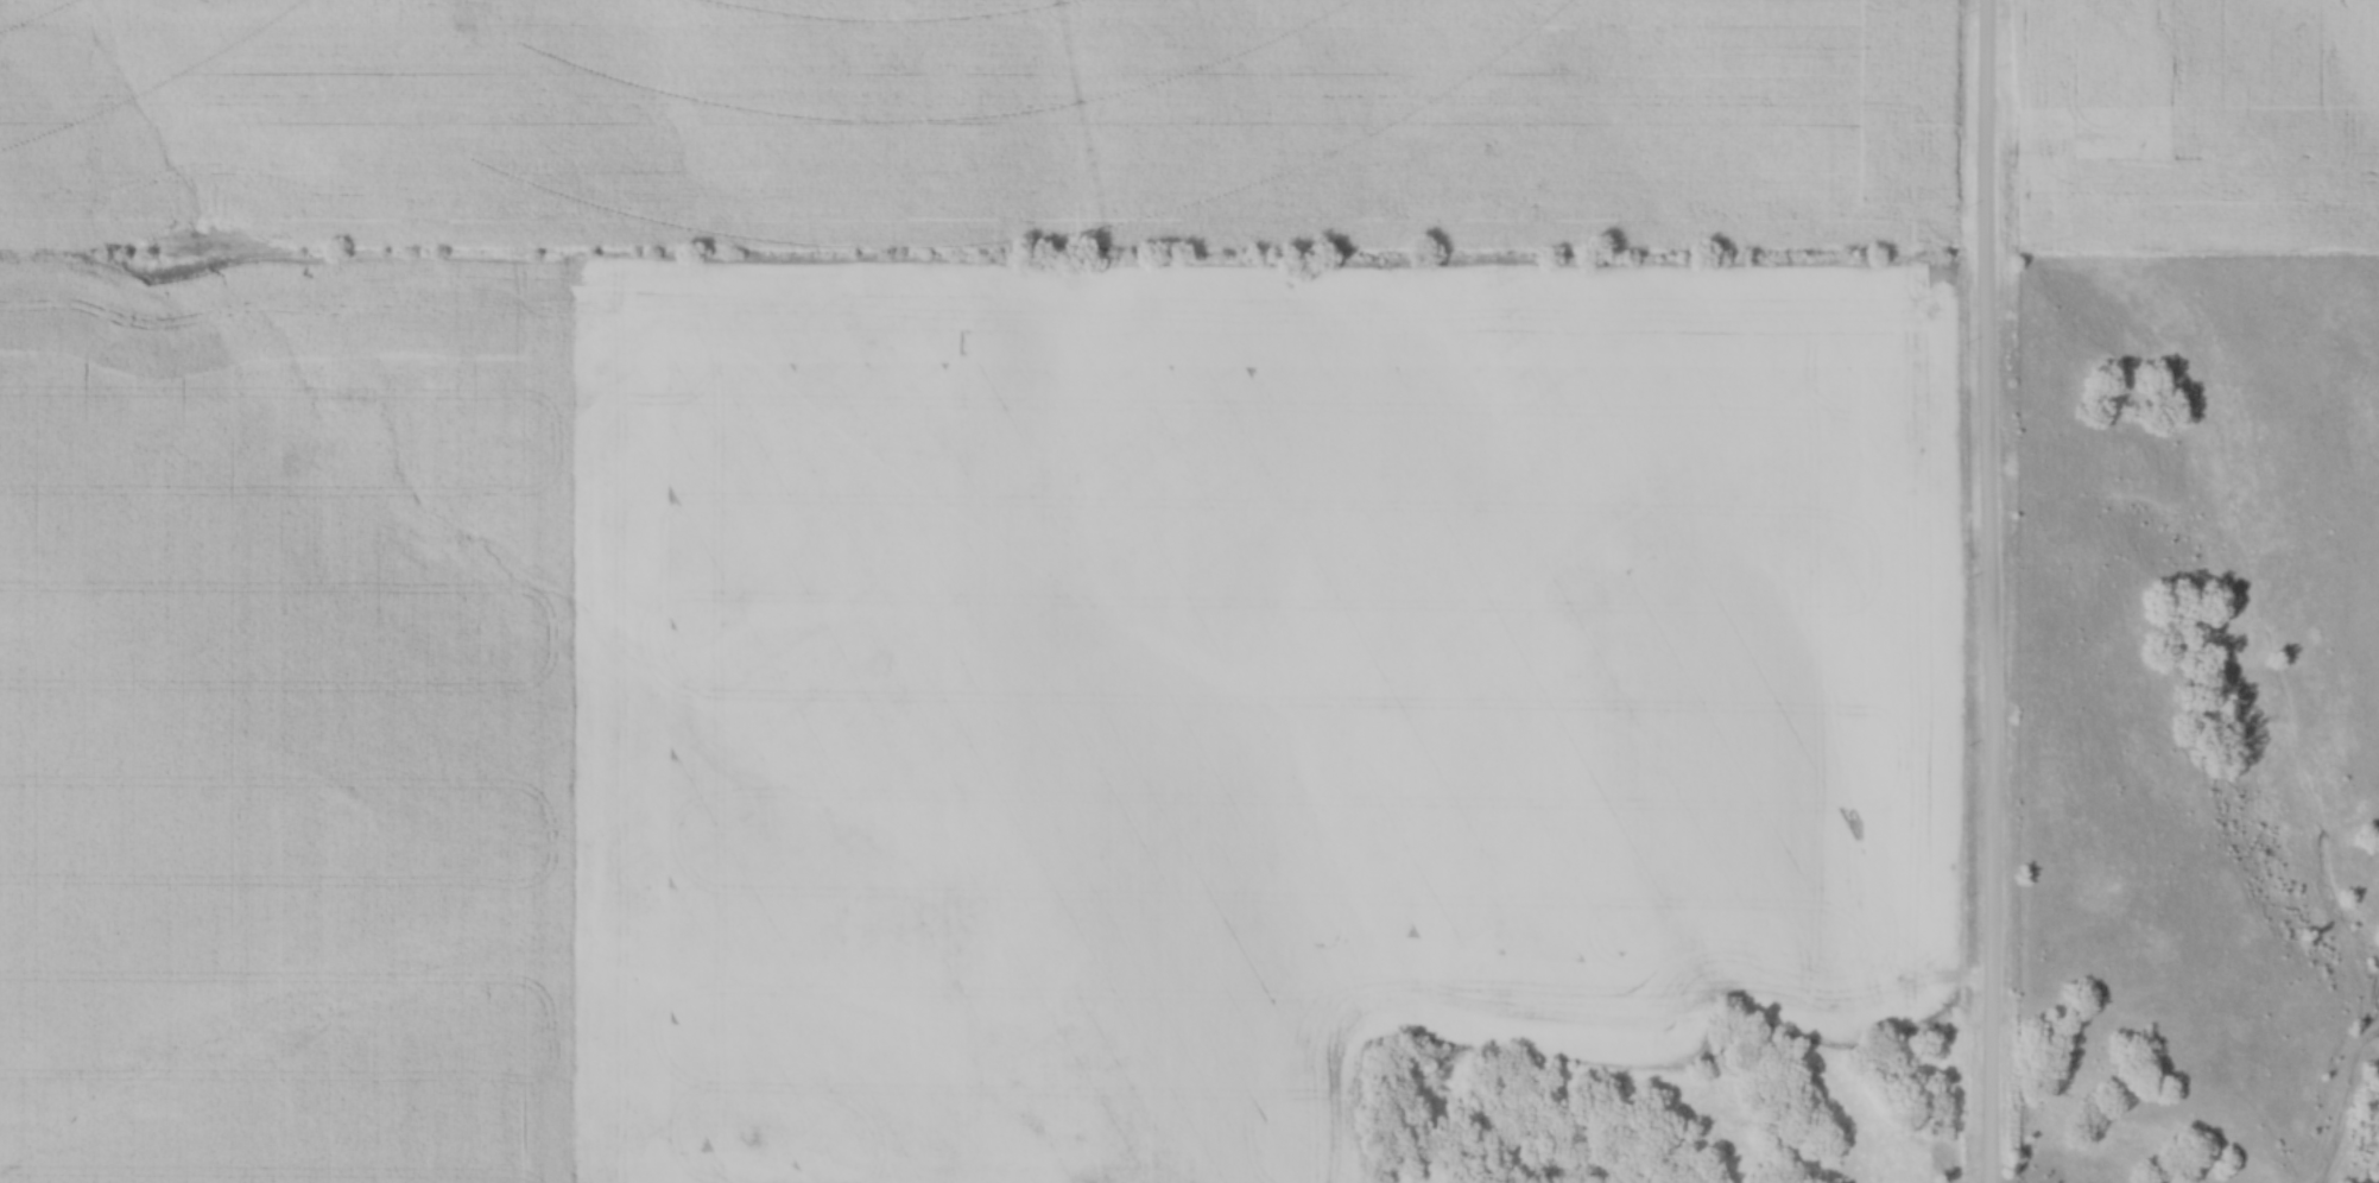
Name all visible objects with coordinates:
road: (1995, 590)

